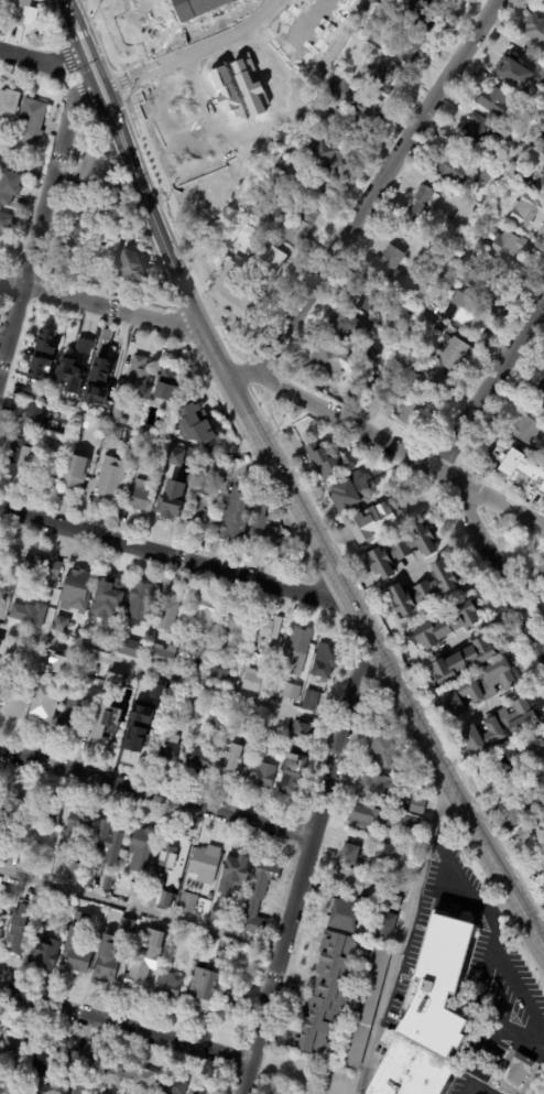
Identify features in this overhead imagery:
building: (453, 0)
building: (543, 0)
building: (1, 3)
building: (425, 11)
building: (21, 14)
road: (101, 30)
road: (75, 33)
building: (534, 33)
road: (186, 36)
building: (407, 48)
road: (44, 54)
road: (193, 54)
road: (116, 65)
building: (513, 73)
building: (385, 76)
road: (94, 77)
building: (542, 79)
road: (122, 80)
building: (9, 100)
building: (494, 101)
road: (208, 107)
building: (355, 107)
building: (535, 109)
building: (30, 122)
building: (309, 128)
building: (479, 131)
building: (540, 143)
building: (326, 160)
building: (454, 165)
building: (0, 166)
building: (93, 172)
building: (485, 174)
building: (521, 175)
building: (542, 184)
road: (380, 186)
road: (168, 193)
building: (8, 201)
building: (427, 201)
building: (526, 210)
road: (44, 218)
building: (301, 225)
building: (248, 234)
building: (100, 236)
building: (75, 242)
building: (505, 247)
building: (104, 256)
building: (268, 260)
building: (389, 263)
building: (130, 267)
building: (454, 273)
building: (485, 285)
building: (235, 292)
building: (423, 293)
building: (374, 299)
road: (101, 302)
building: (433, 306)
building: (477, 318)
building: (427, 319)
building: (347, 325)
road: (218, 329)
building: (83, 345)
building: (41, 353)
building: (455, 355)
building: (370, 358)
building: (105, 360)
building: (329, 362)
road: (241, 368)
building: (398, 370)
building: (426, 372)
building: (69, 373)
building: (138, 375)
building: (167, 386)
road: (489, 388)
building: (540, 393)
building: (67, 397)
building: (400, 404)
building: (116, 413)
building: (122, 421)
building: (194, 426)
building: (100, 427)
building: (526, 427)
building: (164, 431)
building: (113, 432)
building: (23, 436)
road: (387, 442)
building: (175, 456)
building: (227, 459)
building: (326, 461)
building: (521, 467)
building: (74, 470)
building: (110, 477)
building: (219, 483)
building: (202, 490)
building: (349, 490)
building: (542, 491)
building: (139, 495)
building: (172, 497)
building: (235, 513)
road: (305, 521)
building: (360, 528)
building: (264, 529)
building: (0, 550)
building: (402, 550)
road: (176, 555)
road: (412, 566)
building: (42, 567)
road: (494, 568)
building: (109, 586)
building: (75, 589)
building: (424, 589)
building: (140, 594)
building: (31, 607)
building: (168, 610)
building: (206, 613)
building: (237, 620)
building: (61, 622)
building: (447, 624)
building: (266, 628)
building: (111, 629)
building: (142, 639)
building: (298, 645)
building: (3, 646)
building: (128, 648)
building: (251, 648)
building: (166, 649)
building: (185, 652)
building: (325, 659)
building: (464, 659)
building: (58, 664)
building: (69, 667)
building: (200, 672)
building: (219, 675)
road: (172, 678)
building: (4, 680)
building: (254, 681)
building: (115, 682)
building: (480, 686)
building: (291, 691)
building: (157, 693)
building: (311, 700)
building: (45, 704)
building: (235, 704)
building: (75, 713)
building: (107, 717)
building: (137, 717)
building: (219, 723)
building: (501, 725)
building: (251, 727)
building: (304, 729)
building: (533, 746)
building: (167, 747)
building: (281, 747)
building: (382, 747)
building: (198, 759)
building: (229, 762)
building: (399, 769)
building: (543, 769)
building: (293, 772)
building: (263, 775)
building: (492, 781)
building: (0, 787)
building: (382, 789)
road: (156, 793)
building: (0, 797)
building: (417, 805)
building: (13, 808)
building: (516, 812)
building: (48, 814)
building: (366, 817)
building: (410, 824)
building: (534, 825)
building: (77, 830)
building: (525, 835)
building: (109, 842)
building: (3, 848)
building: (140, 848)
building: (175, 851)
building: (389, 852)
building: (208, 853)
building: (349, 854)
building: (32, 859)
building: (368, 859)
building: (236, 864)
road: (305, 865)
building: (541, 866)
building: (395, 868)
building: (74, 870)
road: (458, 876)
building: (89, 877)
building: (108, 881)
building: (351, 881)
building: (135, 890)
building: (155, 890)
building: (9, 896)
building: (259, 896)
building: (187, 902)
building: (392, 902)
road: (140, 909)
building: (48, 913)
building: (217, 913)
building: (345, 914)
building: (126, 925)
building: (138, 927)
building: (385, 927)
building: (1, 929)
road: (403, 934)
building: (20, 939)
building: (47, 949)
building: (224, 949)
building: (76, 953)
building: (144, 958)
building: (106, 962)
building: (168, 984)
building: (202, 987)
building: (442, 987)
building: (327, 994)
building: (232, 1000)
building: (361, 1012)
road: (538, 1025)
road: (123, 1029)
building: (12, 1050)
building: (43, 1058)
building: (80, 1062)
building: (520, 1070)
building: (410, 1071)
building: (111, 1073)
building: (143, 1080)
building: (173, 1085)
building: (76, 1087)
road: (478, 1087)
building: (39, 1088)
building: (203, 1091)
building: (9, 1093)

